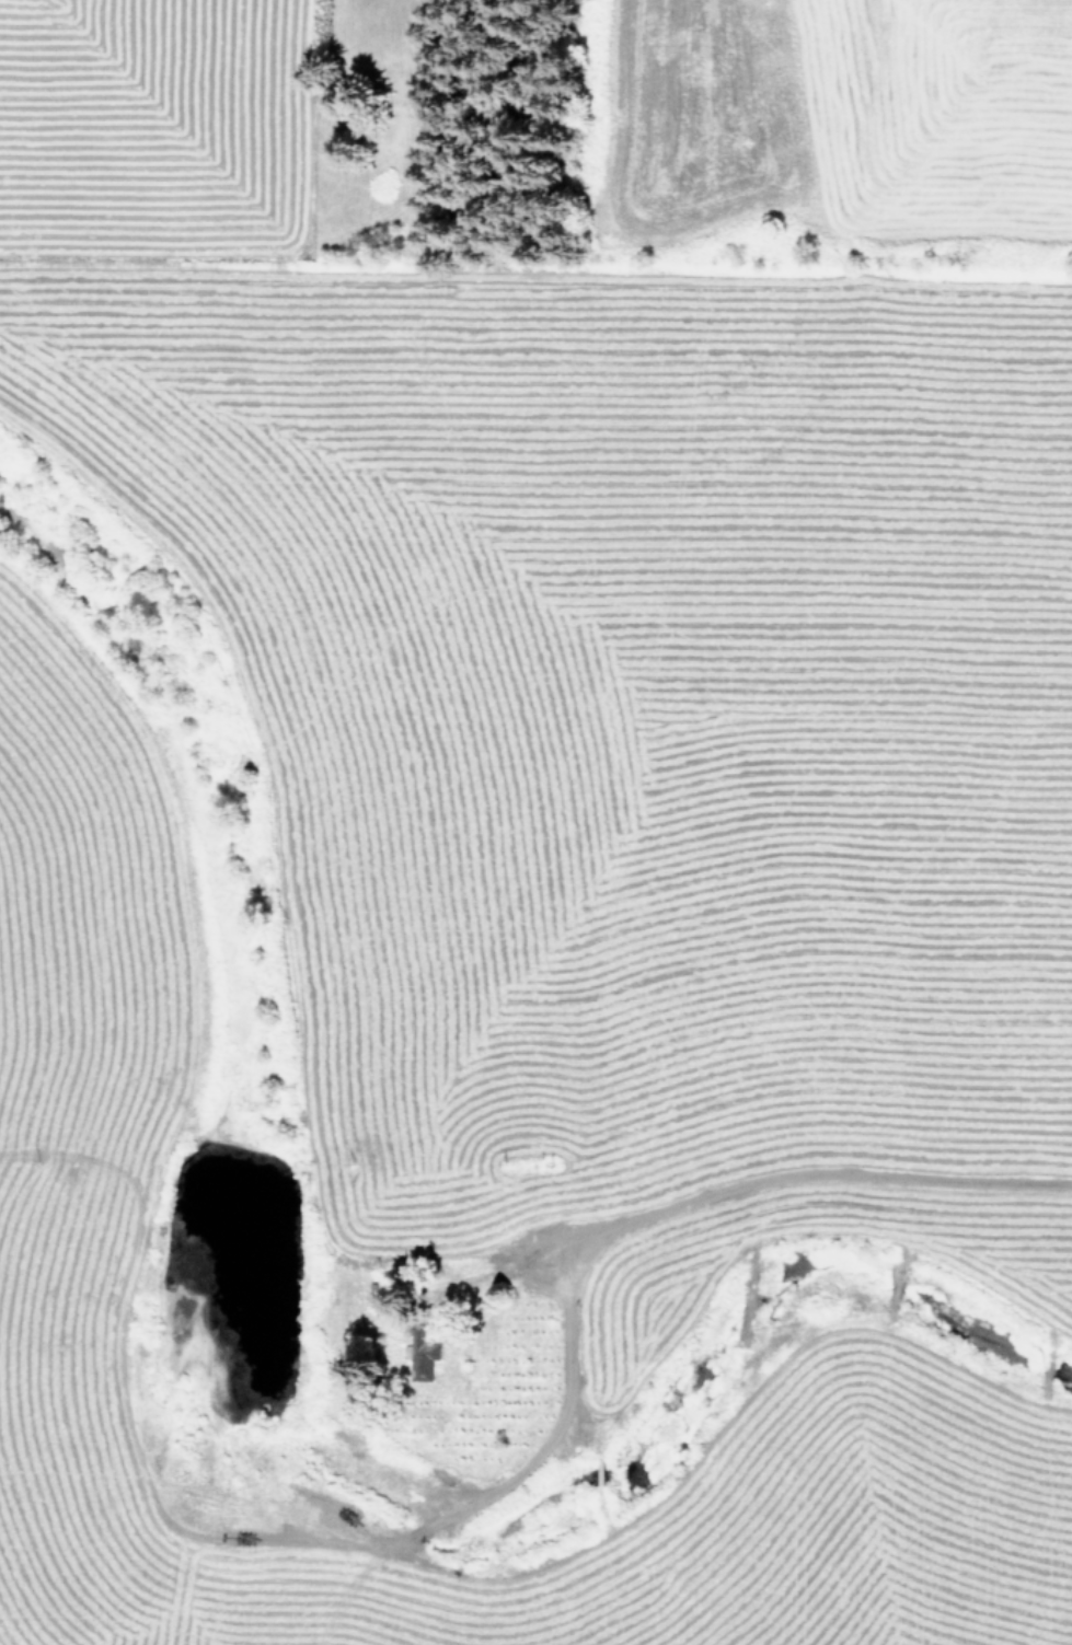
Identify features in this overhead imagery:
crop: (535, 822)
road: (530, 1341)
building: (422, 1359)

